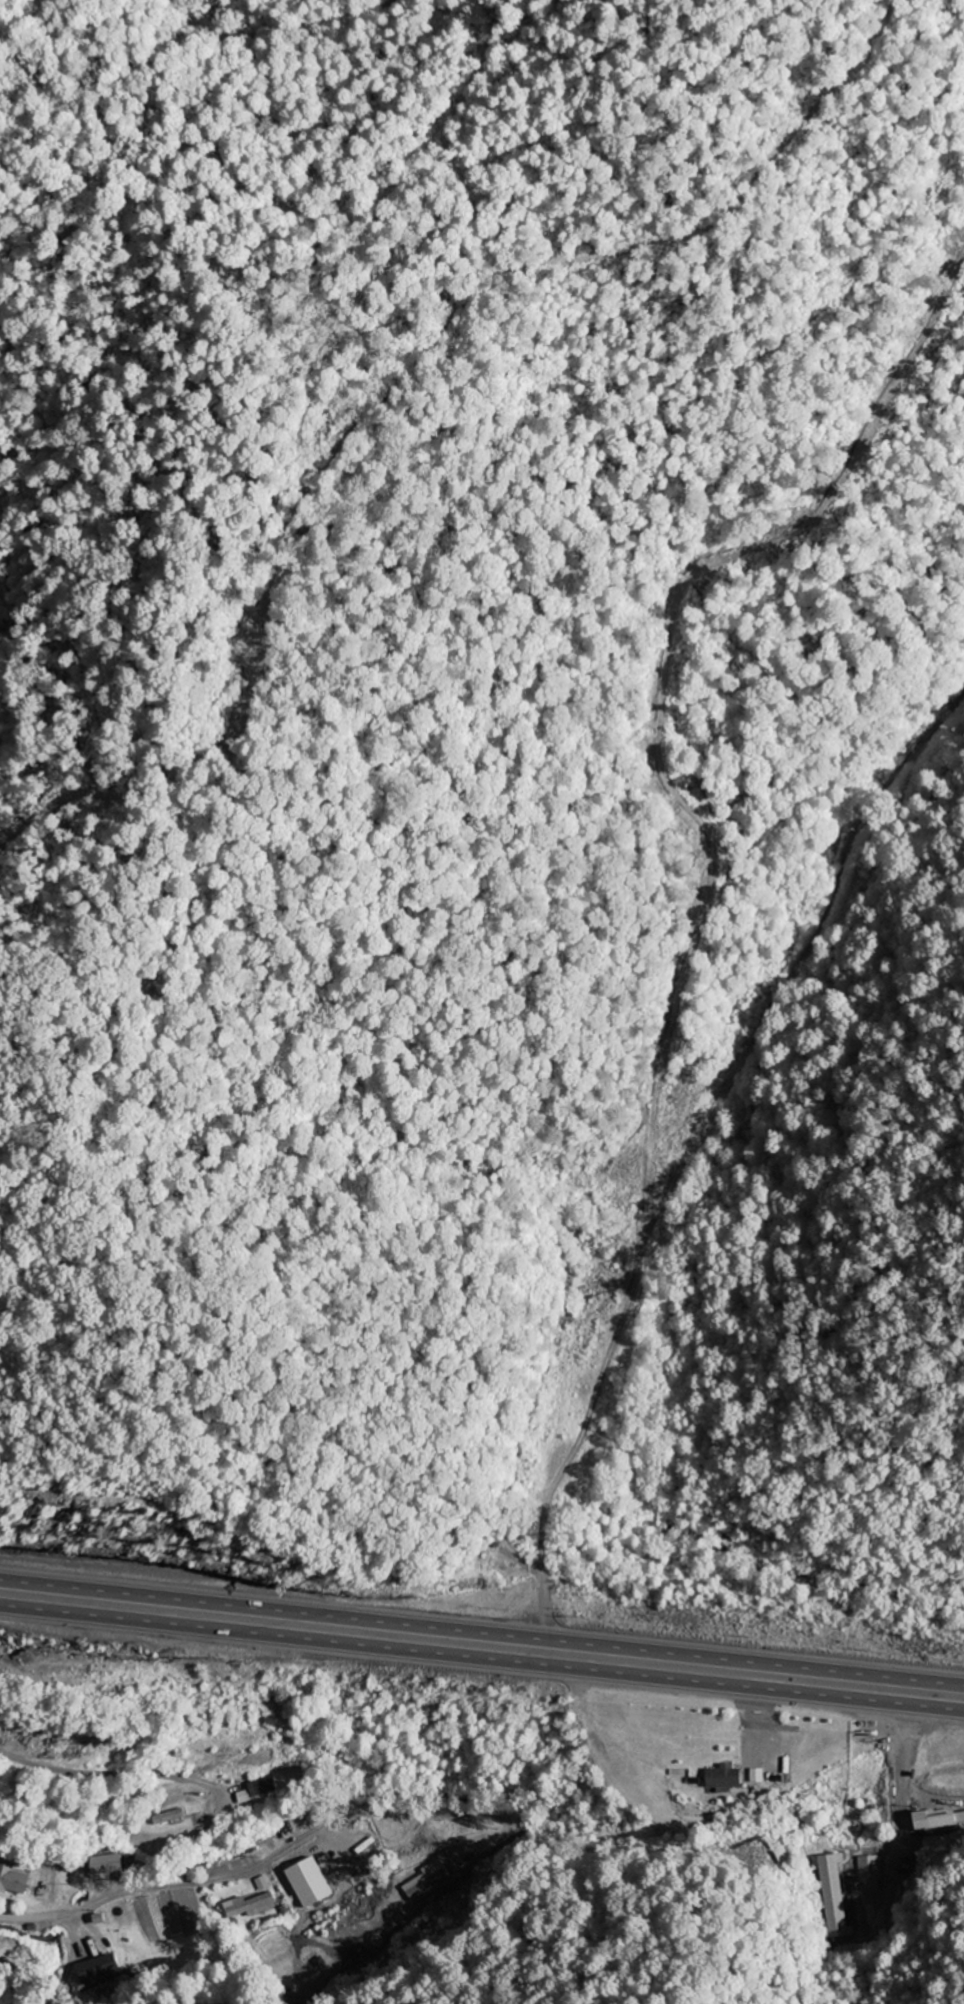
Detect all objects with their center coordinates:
road: (482, 1629)
road: (482, 1657)
road: (112, 1772)
building: (755, 1776)
building: (721, 1777)
building: (257, 1790)
building: (167, 1817)
building: (931, 1821)
building: (102, 1864)
building: (868, 1872)
building: (11, 1880)
road: (202, 1880)
building: (425, 1880)
building: (306, 1882)
building: (261, 1884)
building: (833, 1896)
building: (248, 1906)
building: (95, 1970)

